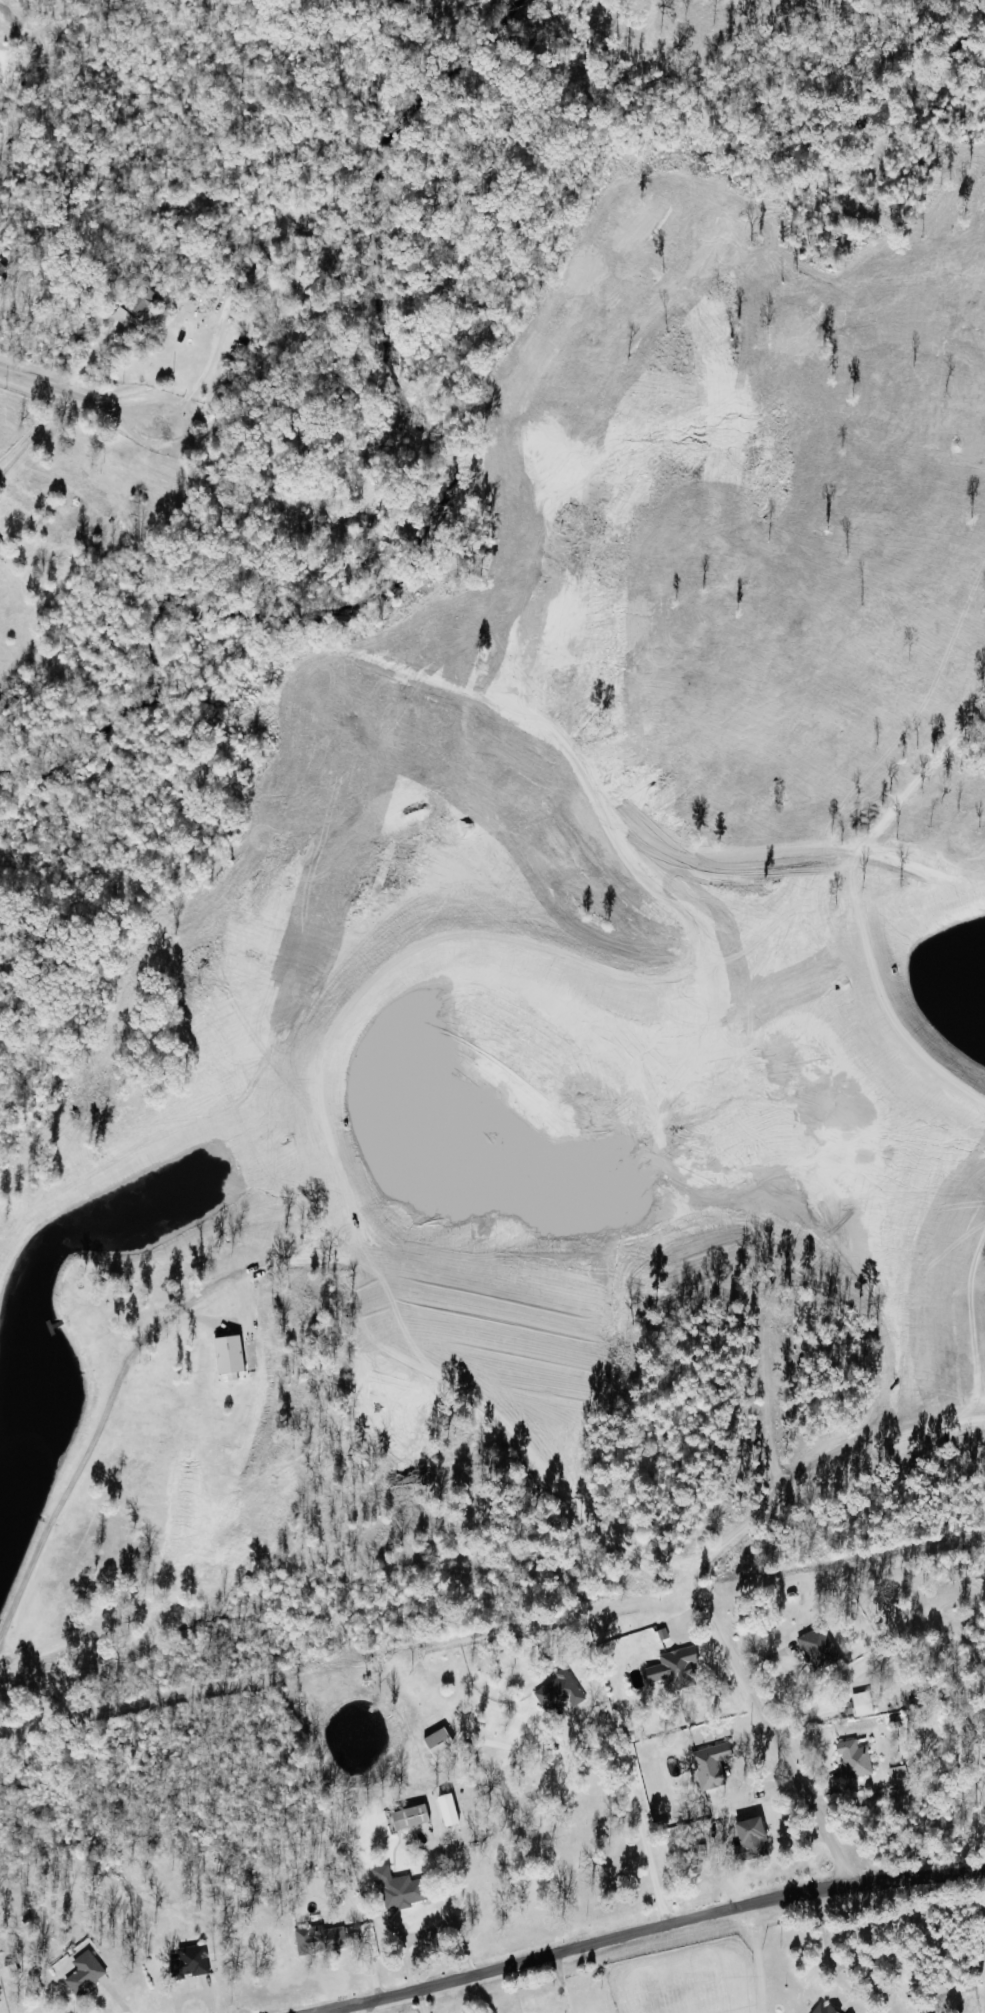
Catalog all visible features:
road: (85, 401)
building: (228, 1355)
building: (818, 1647)
building: (673, 1668)
building: (559, 1693)
building: (861, 1703)
building: (438, 1744)
building: (853, 1759)
building: (709, 1765)
building: (447, 1810)
building: (409, 1817)
building: (747, 1838)
building: (398, 1889)
road: (652, 1929)
building: (323, 1939)
building: (189, 1962)
building: (84, 1973)
building: (823, 2009)

